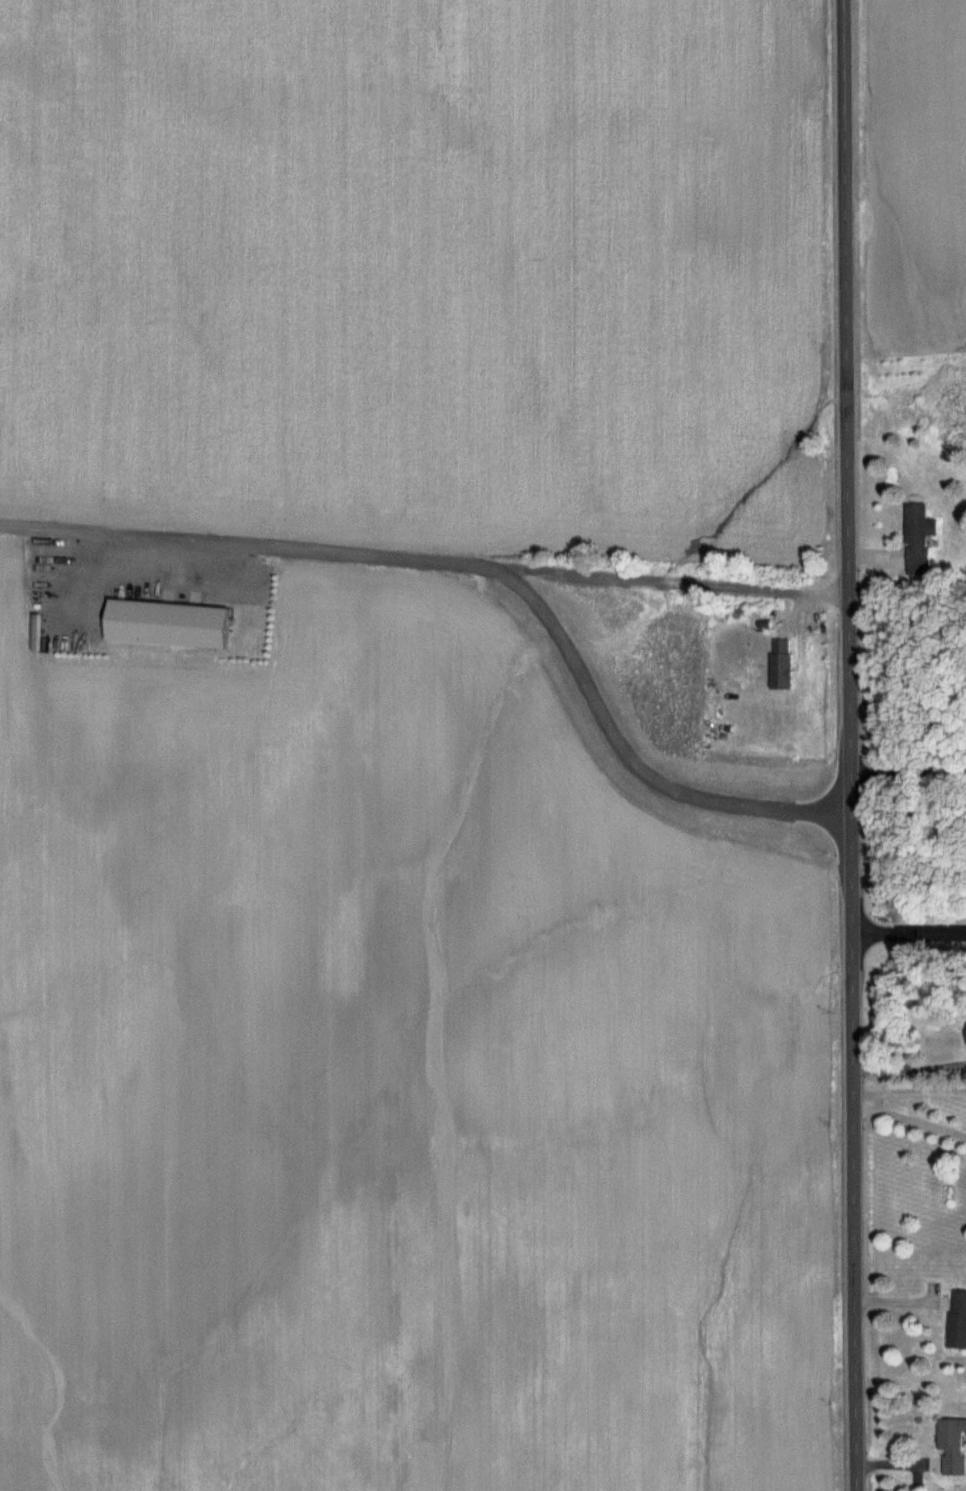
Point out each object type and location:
building: (919, 539)
road: (424, 543)
building: (781, 664)
road: (850, 745)
road: (909, 931)
road: (909, 1068)
road: (909, 1090)
road: (910, 1117)
building: (958, 1321)
building: (953, 1447)

